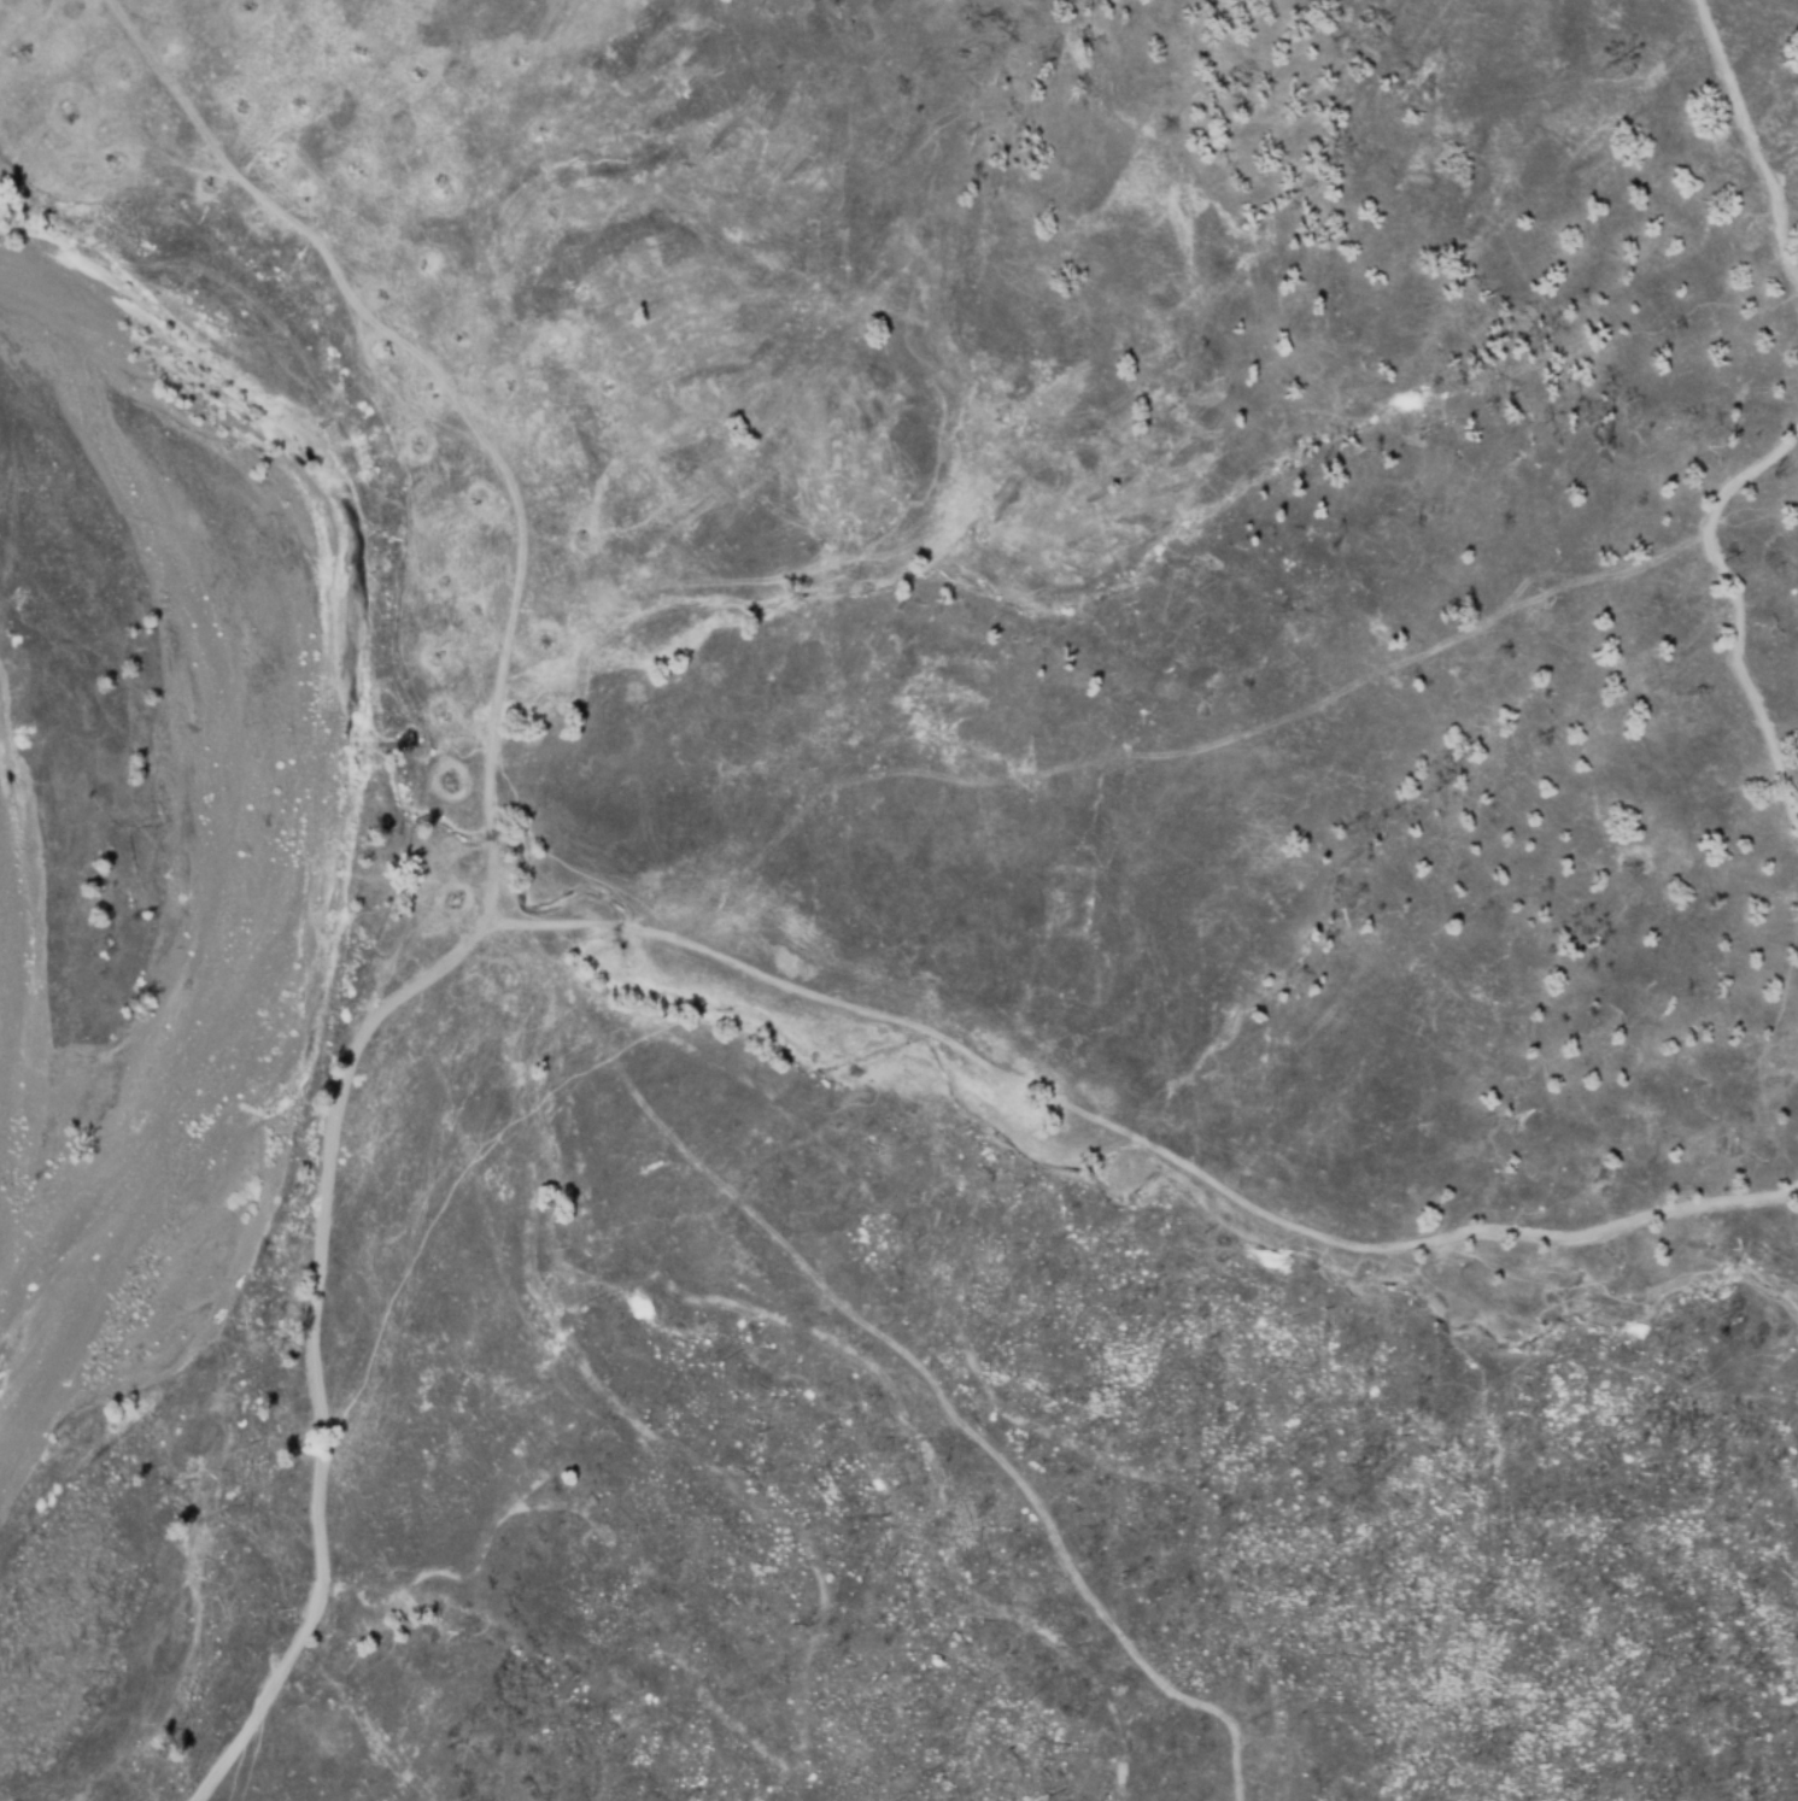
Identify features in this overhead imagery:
road: (1752, 136)
road: (1735, 604)
road: (487, 853)
road: (1134, 1138)

